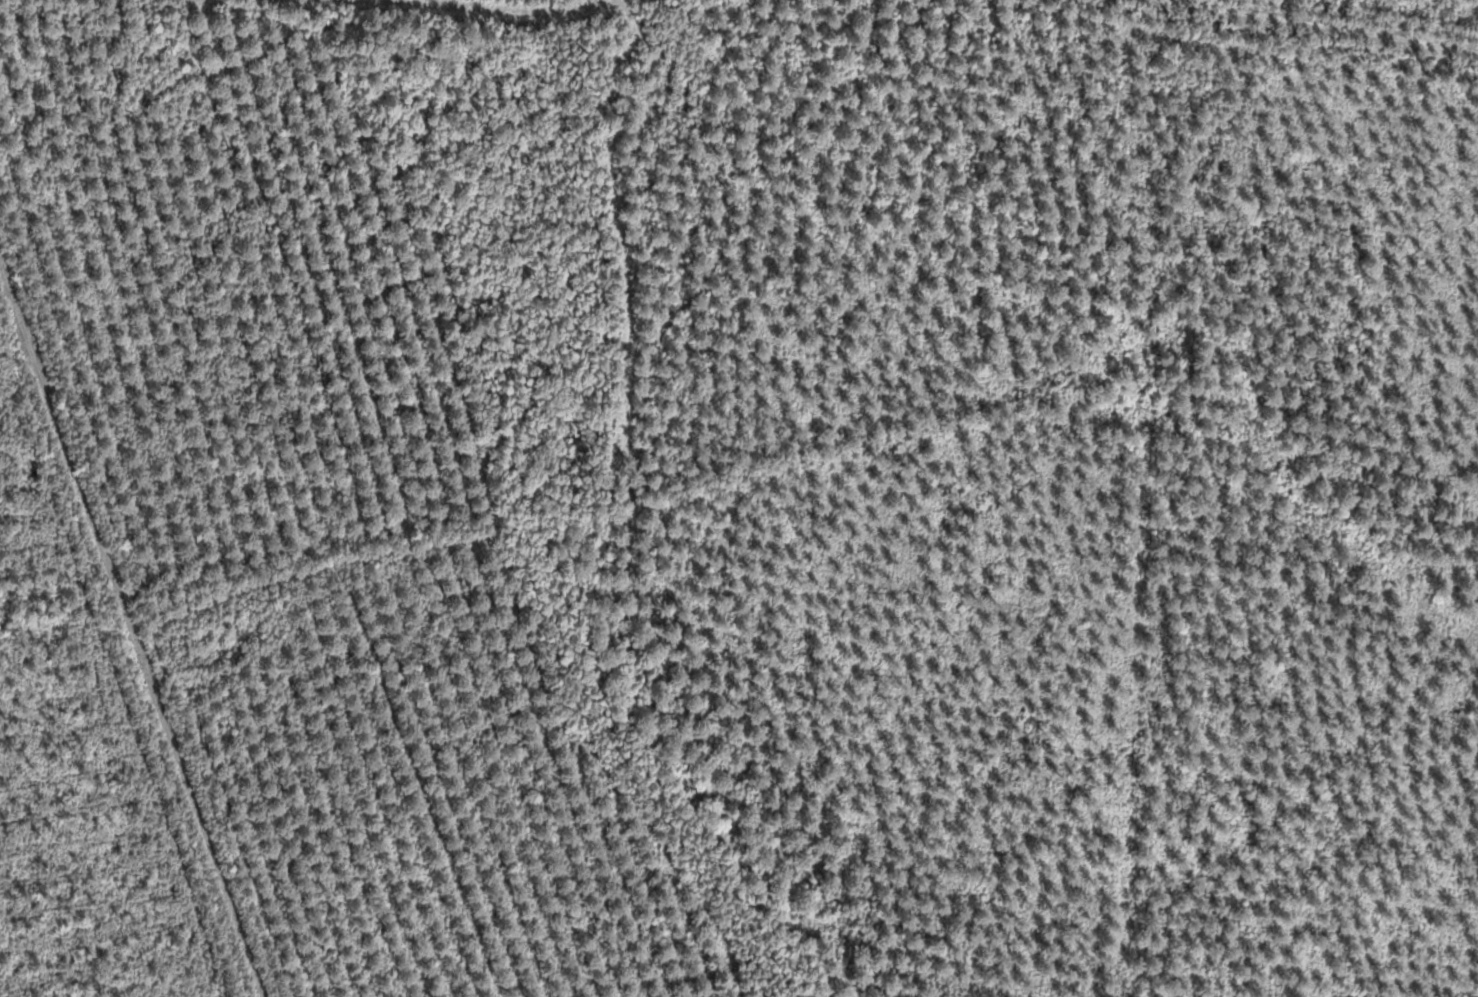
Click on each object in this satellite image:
road: (487, 12)
road: (1375, 13)
road: (128, 605)

